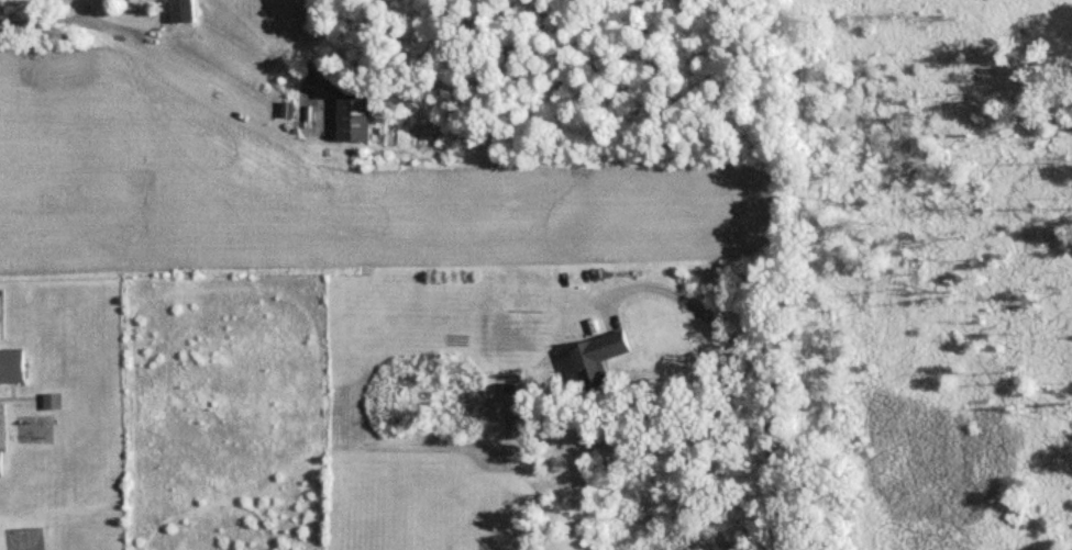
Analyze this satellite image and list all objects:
building: (184, 10)
road: (155, 57)
building: (355, 116)
building: (601, 358)
road: (759, 364)
building: (12, 366)
building: (1, 463)

